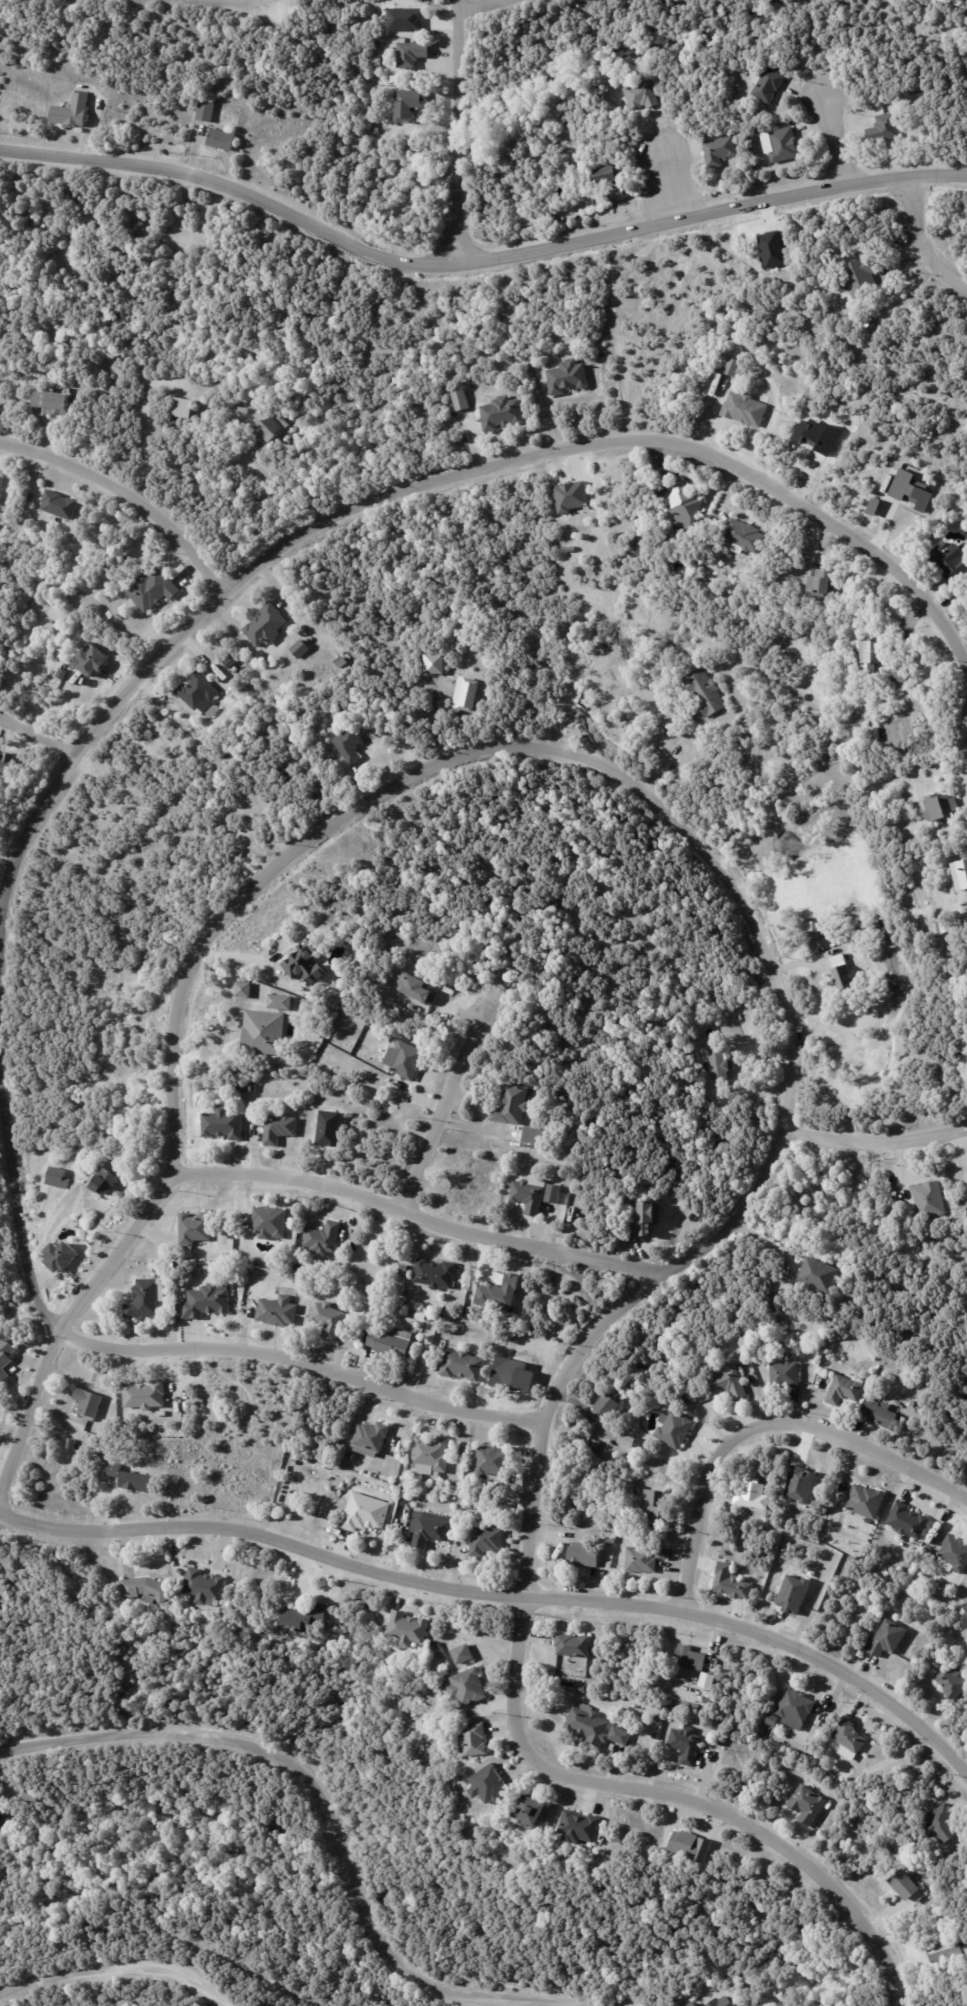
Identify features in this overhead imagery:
road: (241, 3)
road: (488, 8)
building: (404, 18)
building: (411, 54)
building: (394, 79)
building: (767, 84)
building: (642, 95)
building: (409, 104)
building: (205, 111)
building: (72, 113)
building: (885, 128)
road: (460, 133)
building: (222, 139)
road: (834, 139)
building: (782, 145)
building: (566, 149)
building: (720, 150)
building: (605, 175)
road: (674, 185)
building: (617, 195)
road: (921, 241)
building: (771, 249)
road: (477, 261)
building: (859, 277)
building: (870, 322)
building: (732, 366)
building: (766, 373)
building: (567, 376)
building: (221, 384)
building: (459, 400)
building: (54, 401)
building: (745, 409)
building: (242, 410)
building: (182, 412)
building: (502, 413)
building: (272, 431)
road: (412, 486)
road: (132, 487)
building: (1, 490)
building: (910, 490)
building: (571, 495)
road: (277, 496)
building: (685, 503)
building: (59, 504)
building: (872, 506)
building: (744, 535)
building: (809, 556)
building: (949, 562)
building: (823, 582)
building: (151, 589)
building: (265, 626)
building: (298, 648)
building: (869, 656)
building: (91, 661)
building: (230, 663)
building: (434, 664)
building: (63, 674)
building: (899, 675)
building: (798, 685)
building: (705, 691)
building: (197, 693)
building: (468, 694)
building: (858, 701)
building: (920, 715)
road: (37, 735)
building: (349, 746)
road: (665, 750)
building: (5, 763)
building: (941, 807)
building: (960, 874)
building: (810, 910)
building: (943, 930)
building: (836, 959)
building: (305, 962)
road: (774, 975)
building: (843, 976)
building: (244, 990)
building: (417, 990)
building: (279, 1003)
building: (753, 1019)
building: (263, 1033)
building: (407, 1060)
building: (717, 1063)
building: (253, 1089)
building: (241, 1090)
building: (512, 1106)
road: (450, 1109)
building: (224, 1124)
building: (328, 1128)
building: (279, 1129)
building: (534, 1135)
road: (875, 1138)
building: (561, 1168)
building: (56, 1177)
building: (104, 1182)
building: (552, 1194)
building: (527, 1197)
building: (928, 1200)
road: (416, 1213)
building: (647, 1218)
building: (270, 1223)
building: (195, 1228)
road: (764, 1235)
building: (323, 1239)
building: (60, 1256)
building: (271, 1267)
building: (436, 1275)
building: (818, 1275)
building: (298, 1282)
building: (498, 1293)
building: (145, 1300)
building: (207, 1302)
building: (278, 1312)
building: (447, 1318)
building: (435, 1319)
building: (328, 1320)
building: (390, 1343)
road: (167, 1350)
building: (424, 1356)
building: (5, 1359)
building: (463, 1366)
building: (785, 1374)
building: (727, 1382)
building: (844, 1391)
building: (145, 1396)
building: (91, 1405)
building: (607, 1407)
building: (162, 1413)
building: (625, 1413)
building: (878, 1415)
road: (763, 1426)
building: (673, 1430)
building: (372, 1440)
building: (627, 1441)
building: (72, 1444)
building: (594, 1447)
building: (431, 1455)
building: (352, 1456)
building: (288, 1461)
building: (308, 1462)
building: (493, 1462)
building: (326, 1467)
building: (132, 1479)
building: (455, 1493)
building: (753, 1495)
building: (865, 1502)
building: (652, 1507)
building: (768, 1513)
building: (365, 1514)
building: (907, 1521)
building: (430, 1530)
building: (611, 1540)
building: (486, 1542)
building: (928, 1551)
building: (664, 1555)
building: (953, 1555)
building: (583, 1556)
building: (641, 1561)
building: (731, 1582)
building: (204, 1584)
building: (145, 1586)
road: (503, 1597)
building: (371, 1607)
building: (305, 1614)
building: (407, 1627)
building: (888, 1638)
building: (573, 1644)
building: (461, 1653)
building: (690, 1660)
building: (445, 1672)
building: (708, 1679)
building: (952, 1681)
building: (570, 1682)
building: (468, 1686)
building: (583, 1688)
building: (703, 1696)
building: (796, 1707)
building: (773, 1718)
building: (659, 1719)
building: (596, 1726)
building: (850, 1735)
building: (475, 1738)
building: (687, 1743)
building: (489, 1782)
building: (28, 1797)
building: (809, 1802)
building: (529, 1806)
road: (325, 1816)
building: (1, 1821)
building: (943, 1821)
building: (579, 1826)
building: (602, 1837)
building: (689, 1845)
building: (904, 1882)
building: (945, 1947)
road: (118, 1972)
building: (719, 2001)
building: (689, 2004)

